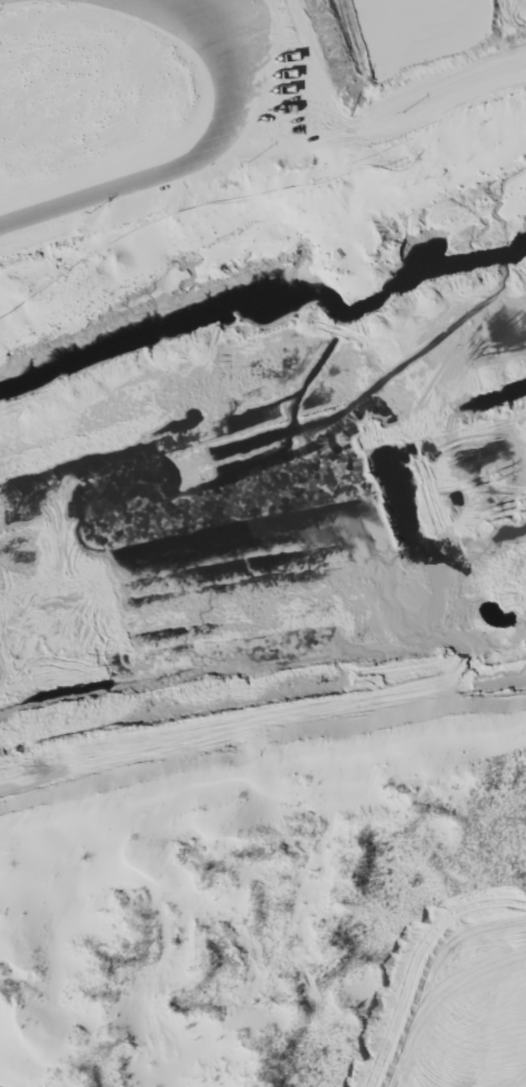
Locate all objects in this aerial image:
road: (192, 147)

